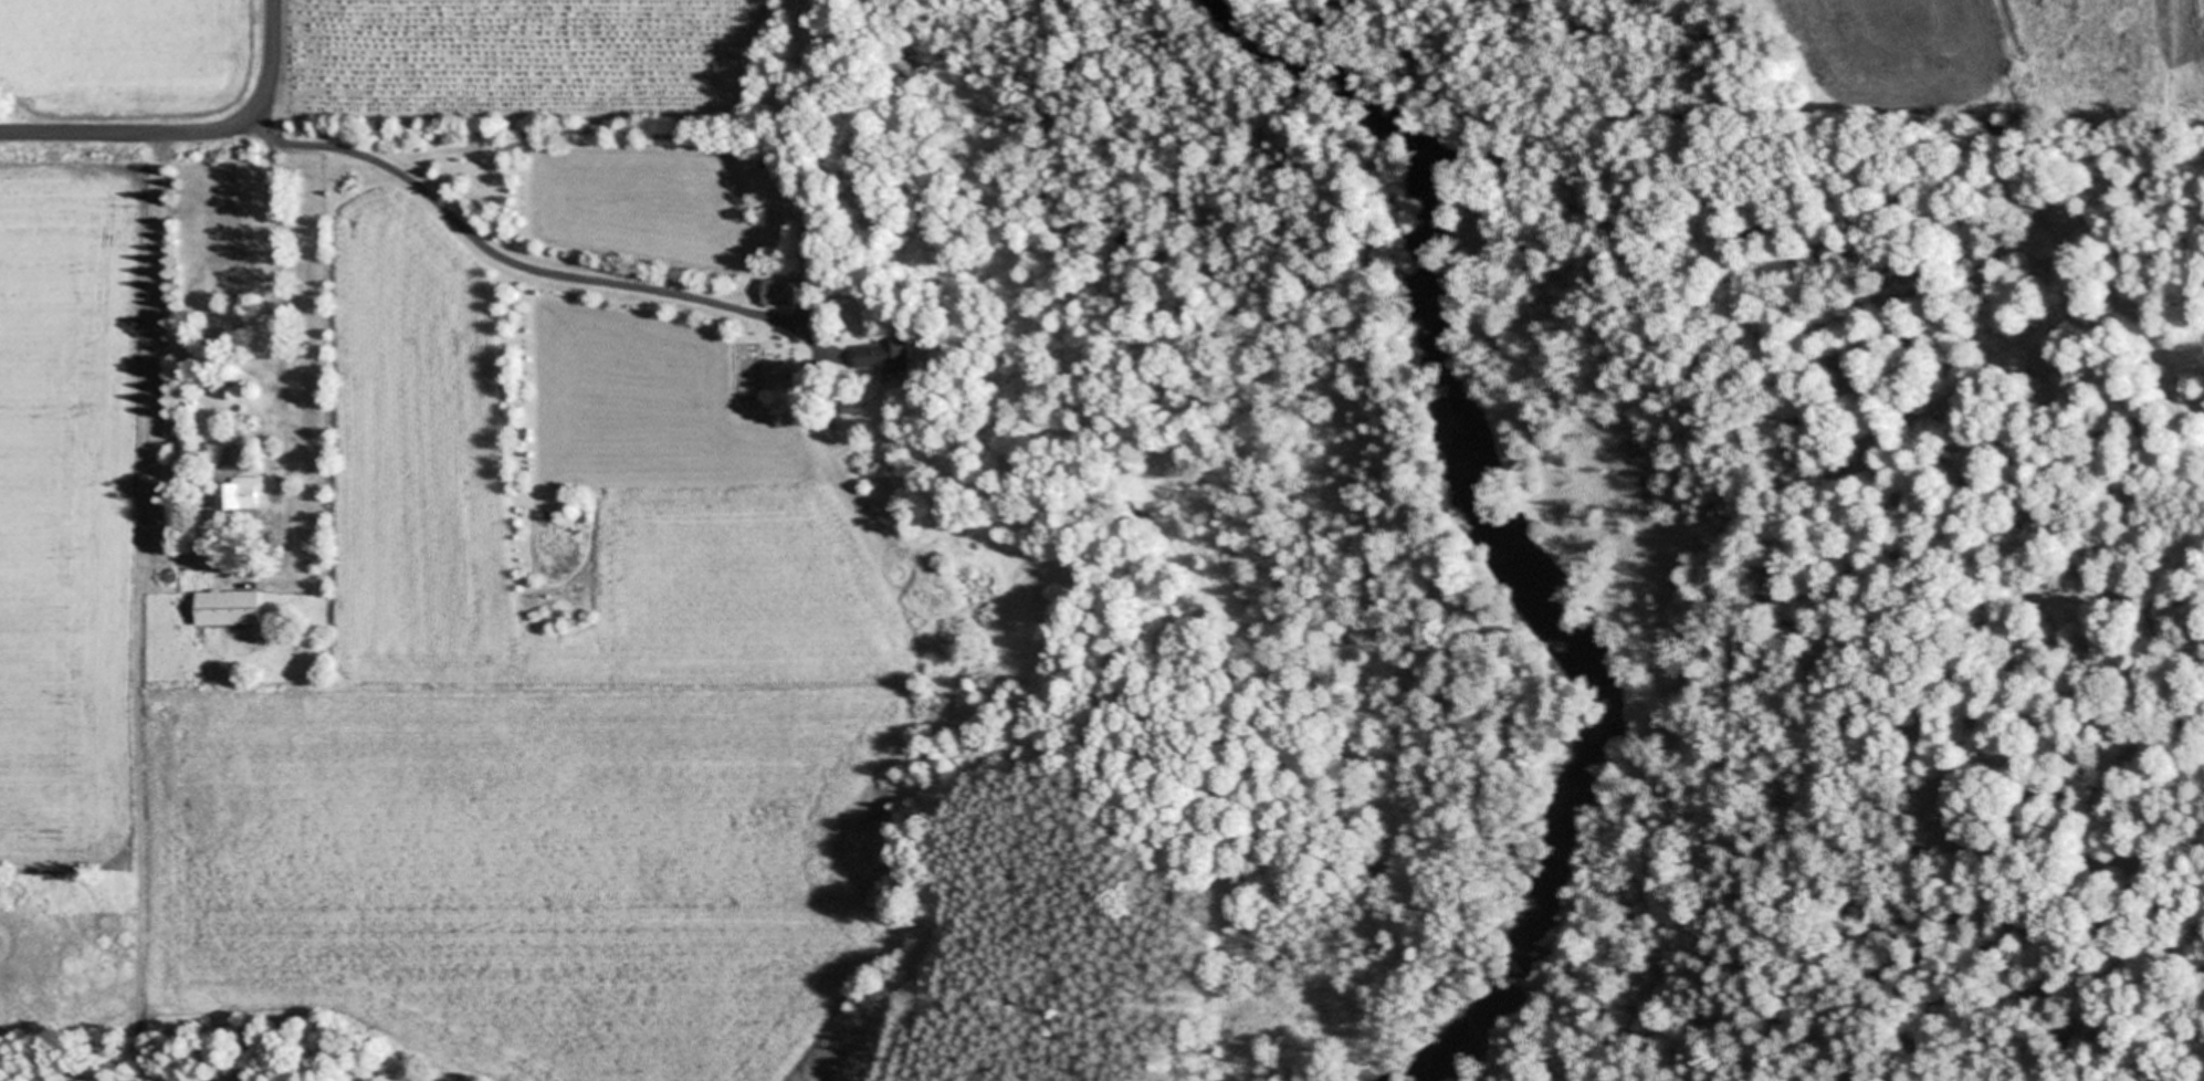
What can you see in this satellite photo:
road: (187, 129)
road: (370, 158)
building: (784, 291)
building: (886, 356)
building: (243, 494)
river: (1497, 528)
building: (230, 608)

